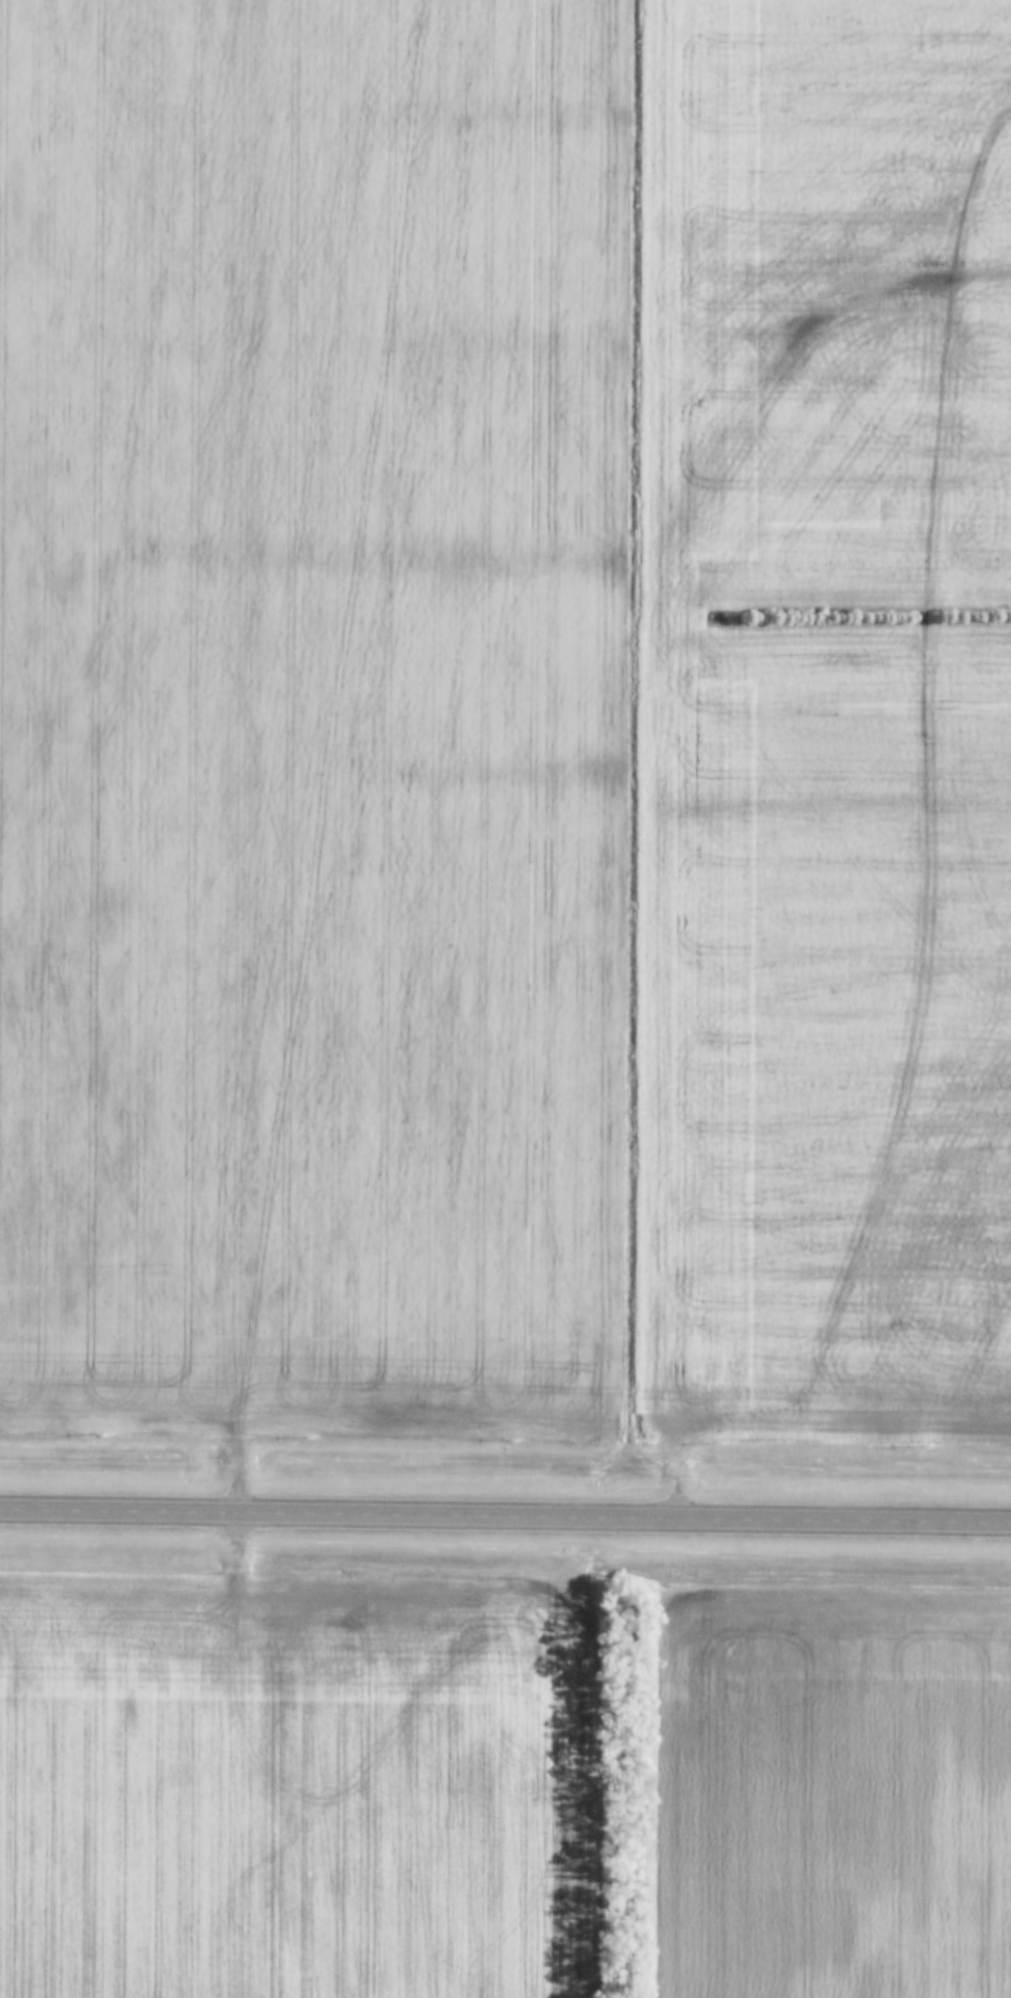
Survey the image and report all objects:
road: (505, 1521)

